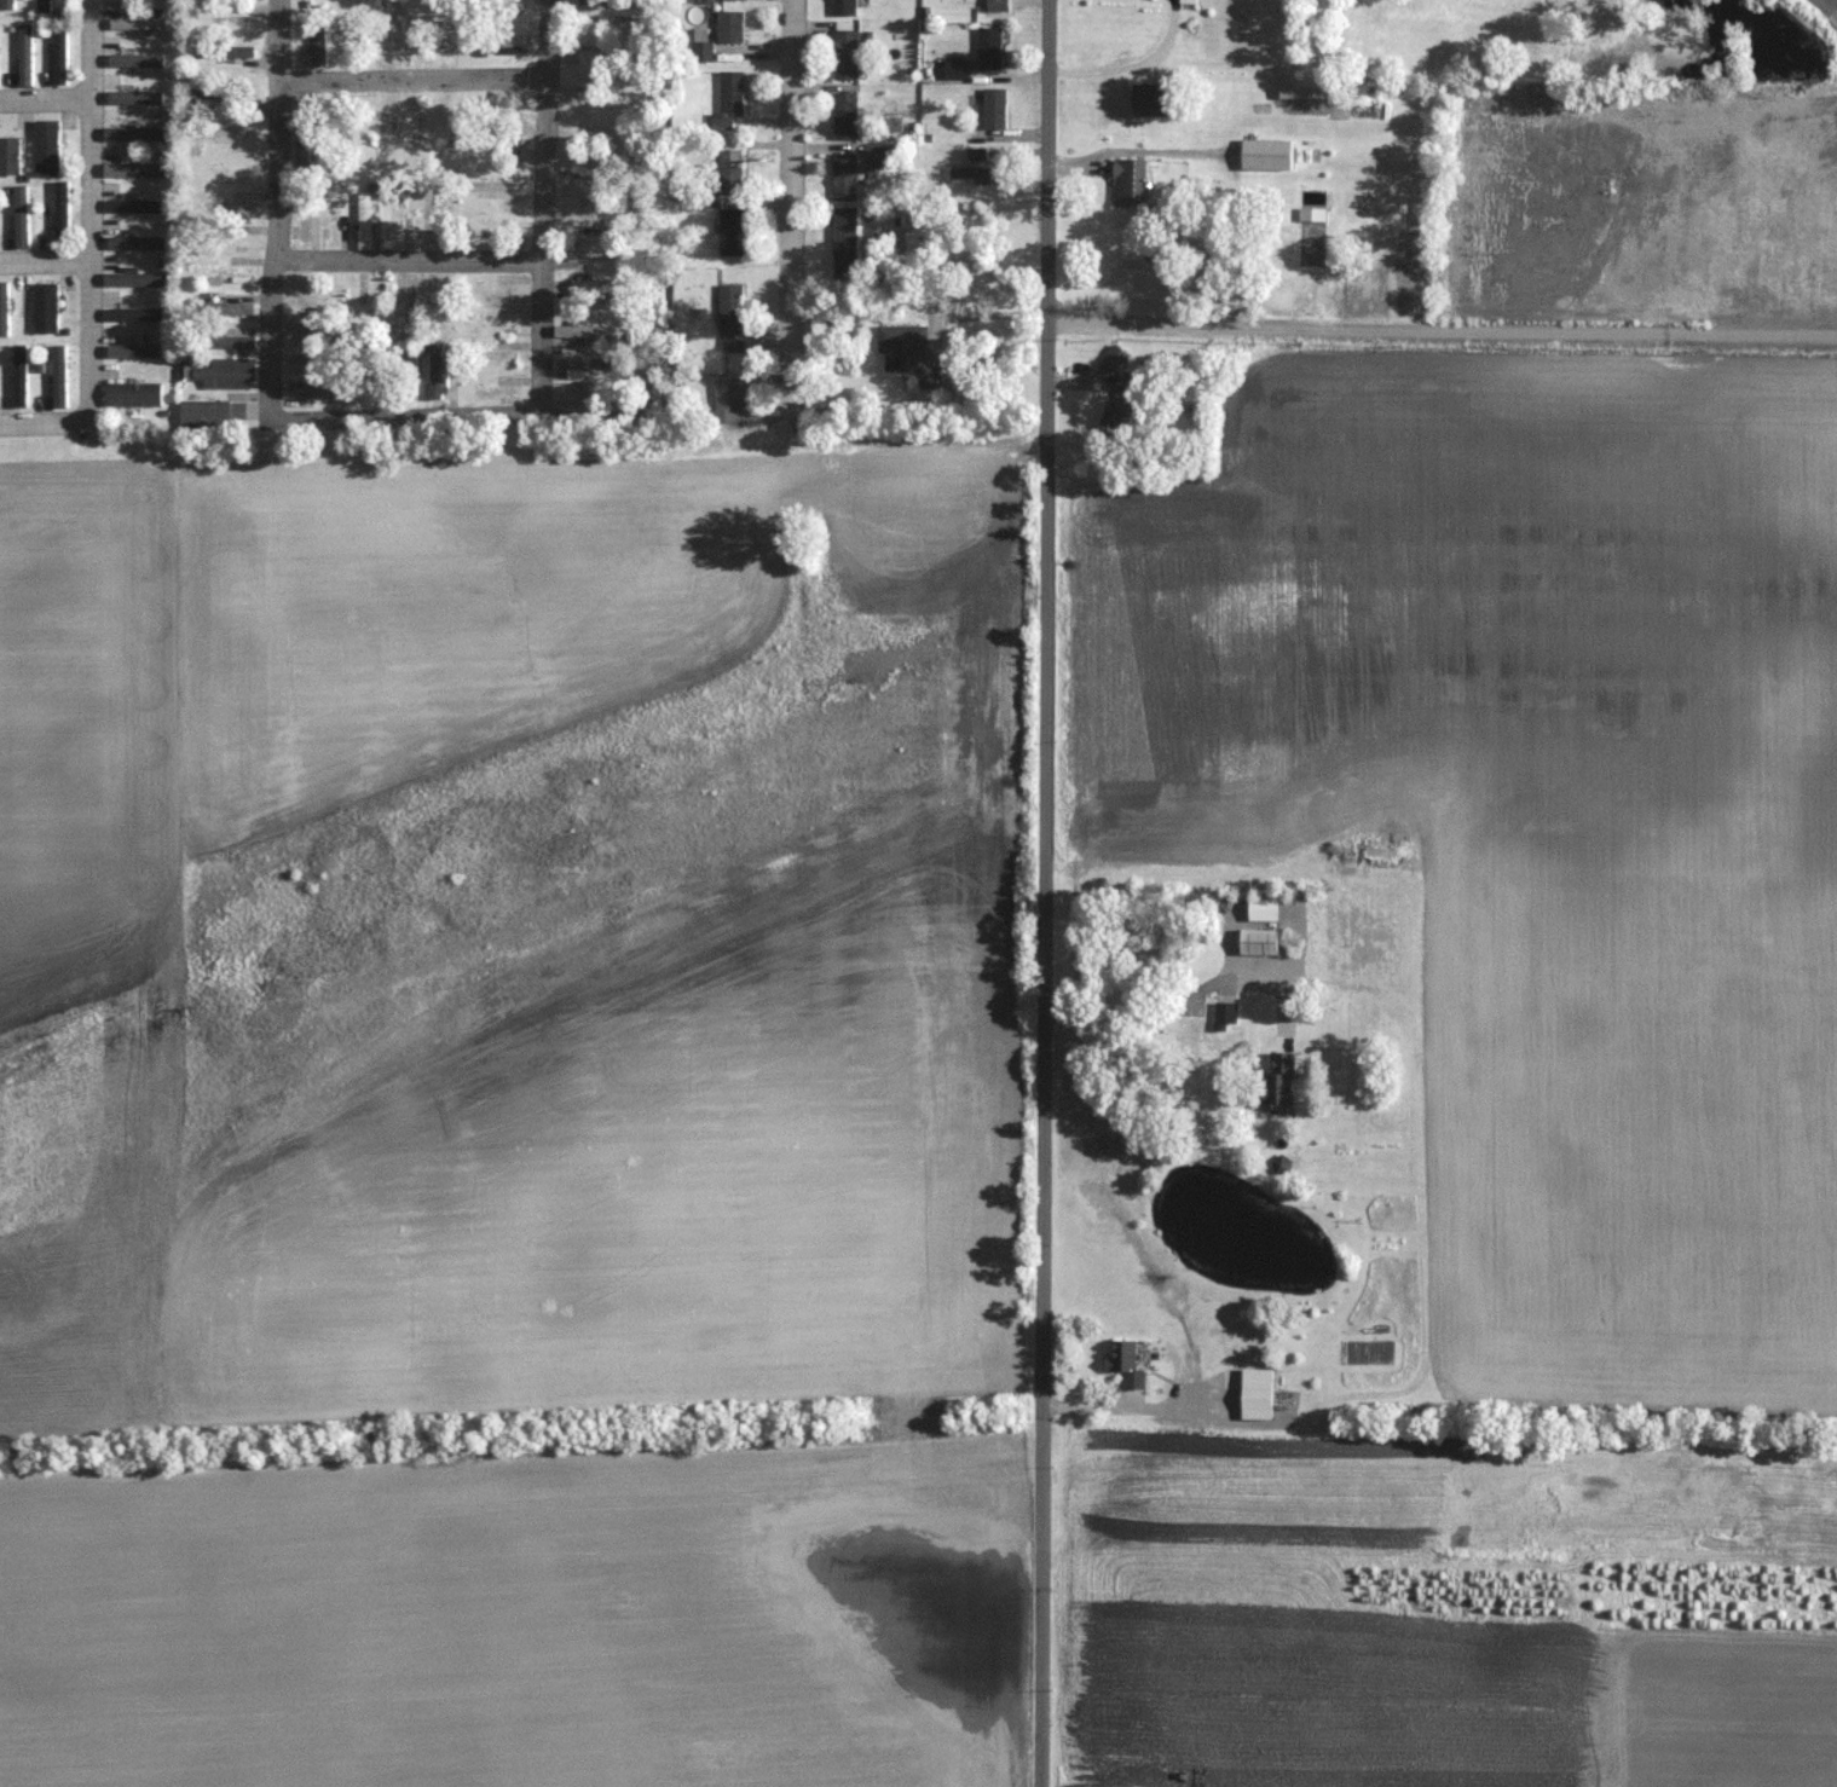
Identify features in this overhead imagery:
building: (732, 0)
building: (44, 5)
building: (510, 6)
building: (995, 6)
building: (843, 7)
building: (611, 11)
building: (422, 25)
building: (447, 25)
building: (729, 28)
building: (394, 33)
building: (316, 41)
building: (502, 41)
building: (989, 48)
building: (223, 51)
building: (701, 51)
building: (24, 54)
building: (845, 54)
building: (527, 58)
road: (412, 79)
building: (1304, 87)
building: (219, 93)
building: (730, 93)
road: (46, 98)
building: (1151, 104)
building: (994, 109)
building: (495, 112)
building: (845, 116)
building: (385, 129)
building: (219, 131)
building: (135, 133)
building: (339, 133)
building: (307, 134)
building: (440, 139)
building: (496, 140)
building: (47, 148)
road: (1136, 152)
building: (1267, 154)
building: (10, 155)
building: (976, 155)
building: (134, 169)
building: (730, 172)
building: (577, 175)
building: (977, 175)
building: (845, 177)
building: (1131, 183)
building: (493, 186)
road: (277, 199)
road: (543, 199)
building: (132, 206)
building: (232, 206)
road: (792, 208)
building: (304, 214)
building: (1312, 214)
building: (428, 218)
building: (365, 220)
building: (395, 220)
building: (595, 230)
building: (732, 231)
building: (137, 242)
building: (845, 242)
road: (93, 254)
building: (590, 254)
road: (47, 259)
road: (410, 259)
building: (224, 271)
building: (134, 278)
building: (599, 285)
building: (371, 301)
building: (409, 301)
building: (440, 303)
building: (46, 308)
building: (230, 308)
building: (732, 317)
building: (498, 323)
road: (1443, 324)
building: (305, 330)
building: (585, 330)
building: (232, 342)
building: (908, 353)
building: (495, 355)
building: (306, 364)
building: (590, 364)
building: (226, 372)
building: (410, 372)
building: (437, 372)
building: (310, 392)
building: (493, 392)
building: (134, 394)
building: (606, 397)
building: (729, 400)
building: (1125, 406)
road: (406, 412)
building: (206, 414)
road: (1046, 705)
building: (1259, 942)
road: (1123, 1011)
building: (1206, 1030)
building: (1281, 1164)
building: (1125, 1363)
building: (1255, 1393)
road: (1042, 1598)

